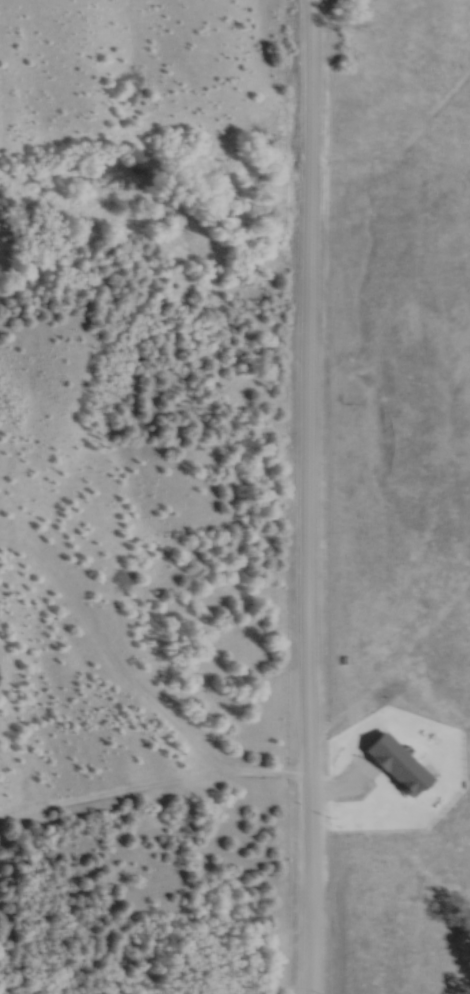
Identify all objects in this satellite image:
road: (308, 496)
building: (397, 763)

